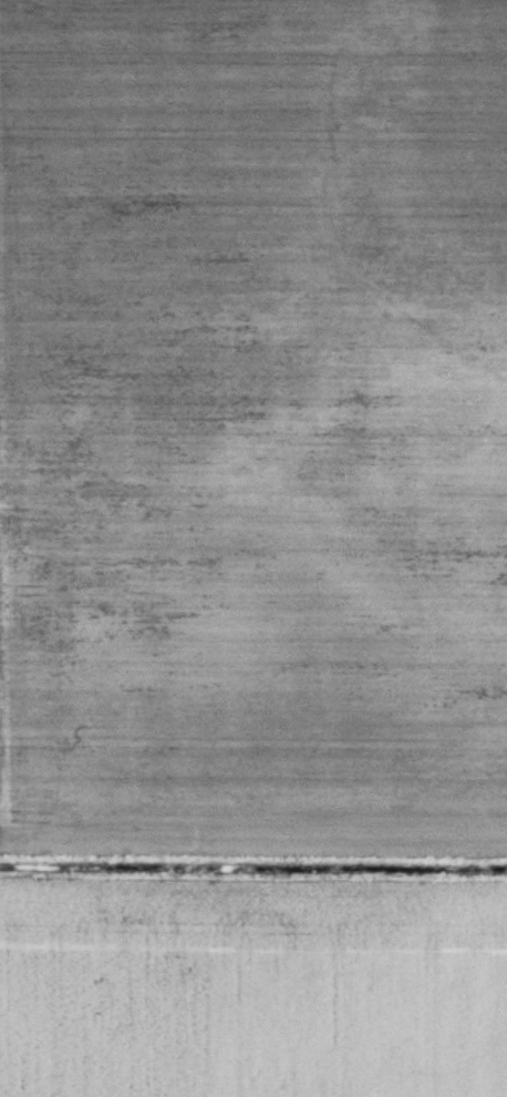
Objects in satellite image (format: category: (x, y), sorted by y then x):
crop: (252, 420)
crop: (252, 985)

